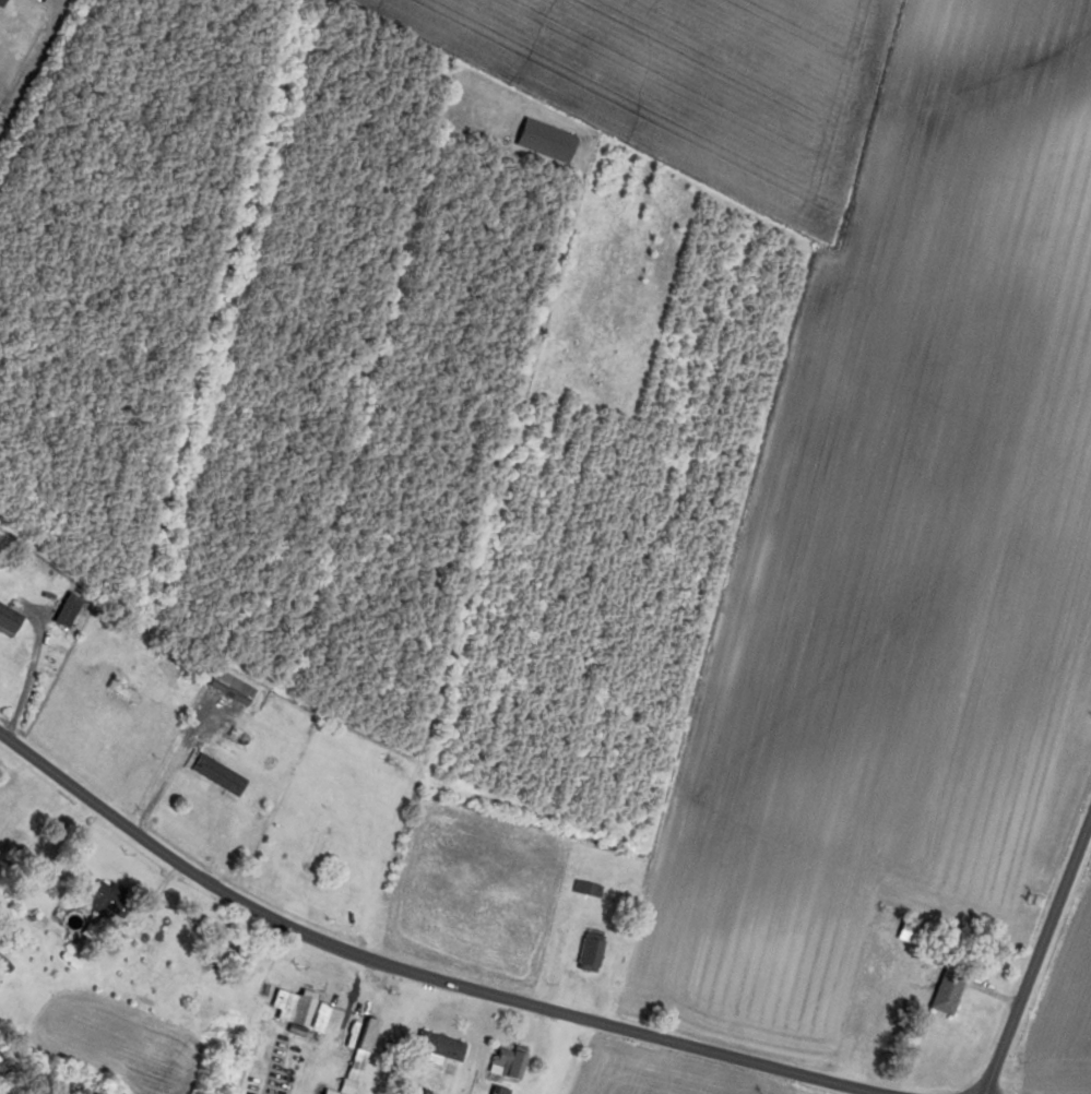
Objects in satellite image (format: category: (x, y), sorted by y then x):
road: (33, 61)
building: (541, 141)
building: (64, 609)
building: (7, 620)
road: (28, 679)
building: (228, 686)
building: (119, 691)
building: (213, 774)
road: (162, 786)
building: (584, 889)
building: (97, 897)
road: (150, 902)
building: (912, 935)
building: (586, 952)
road: (1037, 955)
road: (422, 976)
building: (942, 991)
building: (296, 1010)
building: (432, 1049)
building: (354, 1056)
building: (505, 1063)

